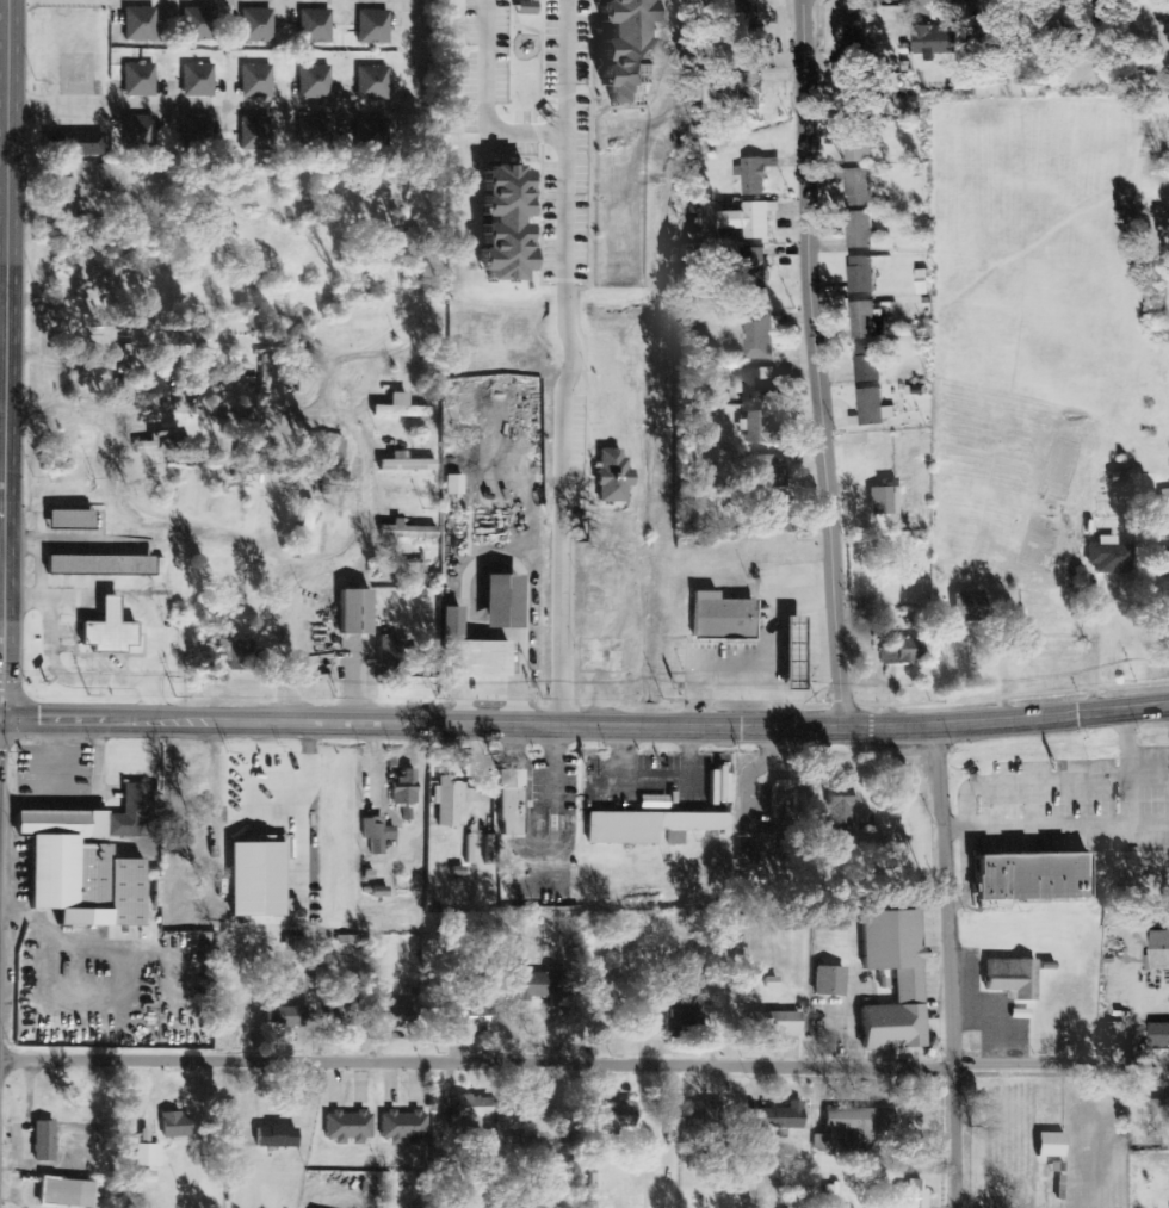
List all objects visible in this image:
building: (746, 6)
building: (527, 7)
building: (130, 20)
building: (143, 20)
building: (186, 21)
building: (202, 23)
building: (247, 23)
building: (261, 23)
building: (305, 24)
building: (320, 24)
building: (363, 24)
building: (378, 25)
building: (1058, 37)
building: (939, 42)
building: (994, 44)
building: (856, 50)
road: (2, 55)
building: (128, 75)
building: (143, 76)
building: (187, 76)
building: (200, 76)
building: (245, 78)
building: (260, 78)
building: (303, 78)
building: (318, 79)
building: (363, 80)
building: (377, 80)
building: (751, 99)
building: (856, 104)
road: (206, 105)
building: (126, 128)
building: (141, 128)
building: (186, 130)
building: (200, 130)
building: (243, 130)
building: (304, 130)
building: (259, 131)
building: (320, 131)
building: (361, 132)
building: (377, 132)
building: (69, 140)
building: (858, 144)
building: (106, 175)
building: (755, 176)
building: (860, 190)
building: (66, 194)
building: (751, 221)
building: (861, 231)
building: (862, 275)
building: (924, 283)
road: (2, 289)
building: (868, 321)
building: (760, 337)
road: (5, 357)
road: (582, 360)
building: (129, 361)
road: (815, 363)
building: (870, 365)
building: (266, 376)
building: (757, 385)
building: (402, 408)
building: (874, 408)
road: (243, 410)
building: (761, 429)
building: (155, 444)
building: (334, 460)
building: (408, 464)
building: (771, 472)
building: (616, 477)
building: (883, 500)
building: (780, 519)
building: (74, 520)
road: (191, 531)
building: (409, 532)
building: (1112, 556)
building: (1167, 560)
building: (103, 565)
building: (402, 569)
building: (506, 602)
building: (972, 606)
building: (358, 612)
building: (724, 618)
building: (111, 631)
road: (280, 636)
building: (474, 652)
building: (904, 652)
building: (237, 653)
building: (798, 655)
gas station: (798, 655)
road: (0, 713)
road: (99, 713)
traffic signals: (1, 714)
road: (0, 715)
road: (682, 723)
building: (406, 789)
building: (785, 800)
building: (449, 801)
building: (656, 803)
building: (514, 812)
building: (865, 824)
building: (651, 826)
building: (378, 834)
building: (83, 872)
building: (1034, 876)
building: (259, 880)
building: (296, 943)
building: (1164, 952)
road: (958, 965)
building: (1014, 979)
building: (897, 980)
building: (831, 981)
building: (533, 986)
building: (341, 1010)
building: (685, 1011)
building: (400, 1016)
building: (287, 1017)
building: (476, 1017)
building: (777, 1024)
building: (1161, 1035)
road: (583, 1065)
building: (1162, 1111)
building: (472, 1113)
building: (621, 1117)
building: (704, 1117)
building: (787, 1117)
building: (860, 1121)
building: (178, 1126)
building: (350, 1127)
building: (406, 1127)
building: (279, 1136)
building: (864, 1140)
building: (45, 1141)
building: (822, 1142)
building: (1053, 1145)
building: (149, 1156)
building: (69, 1194)
building: (913, 1195)

